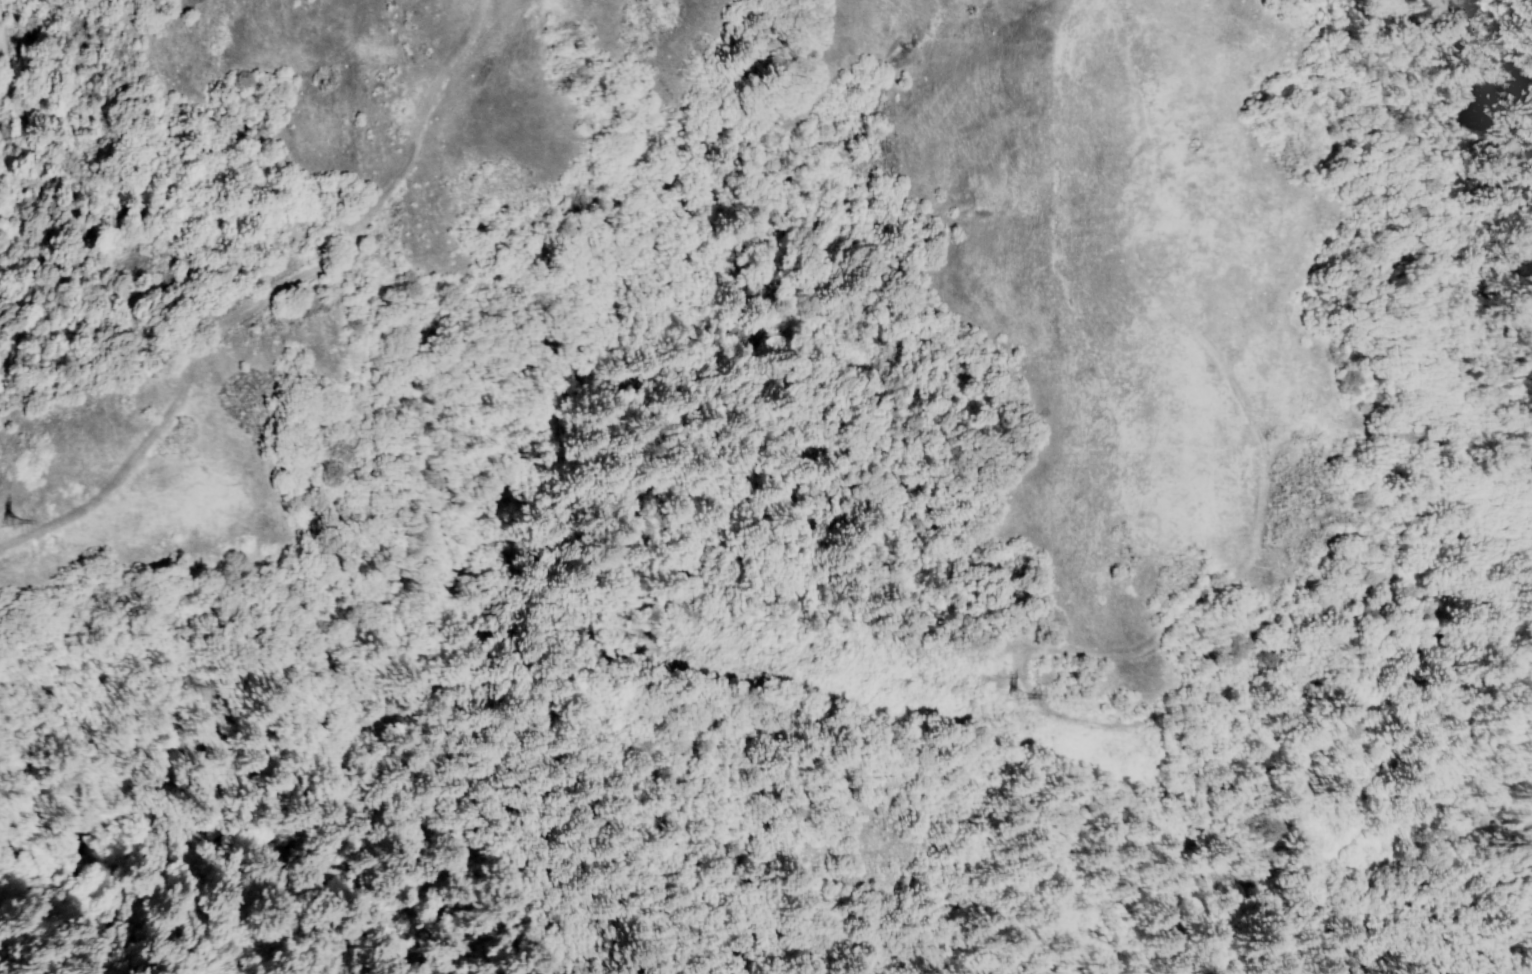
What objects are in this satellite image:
power tower: (9, 522)
power tower: (1013, 698)

